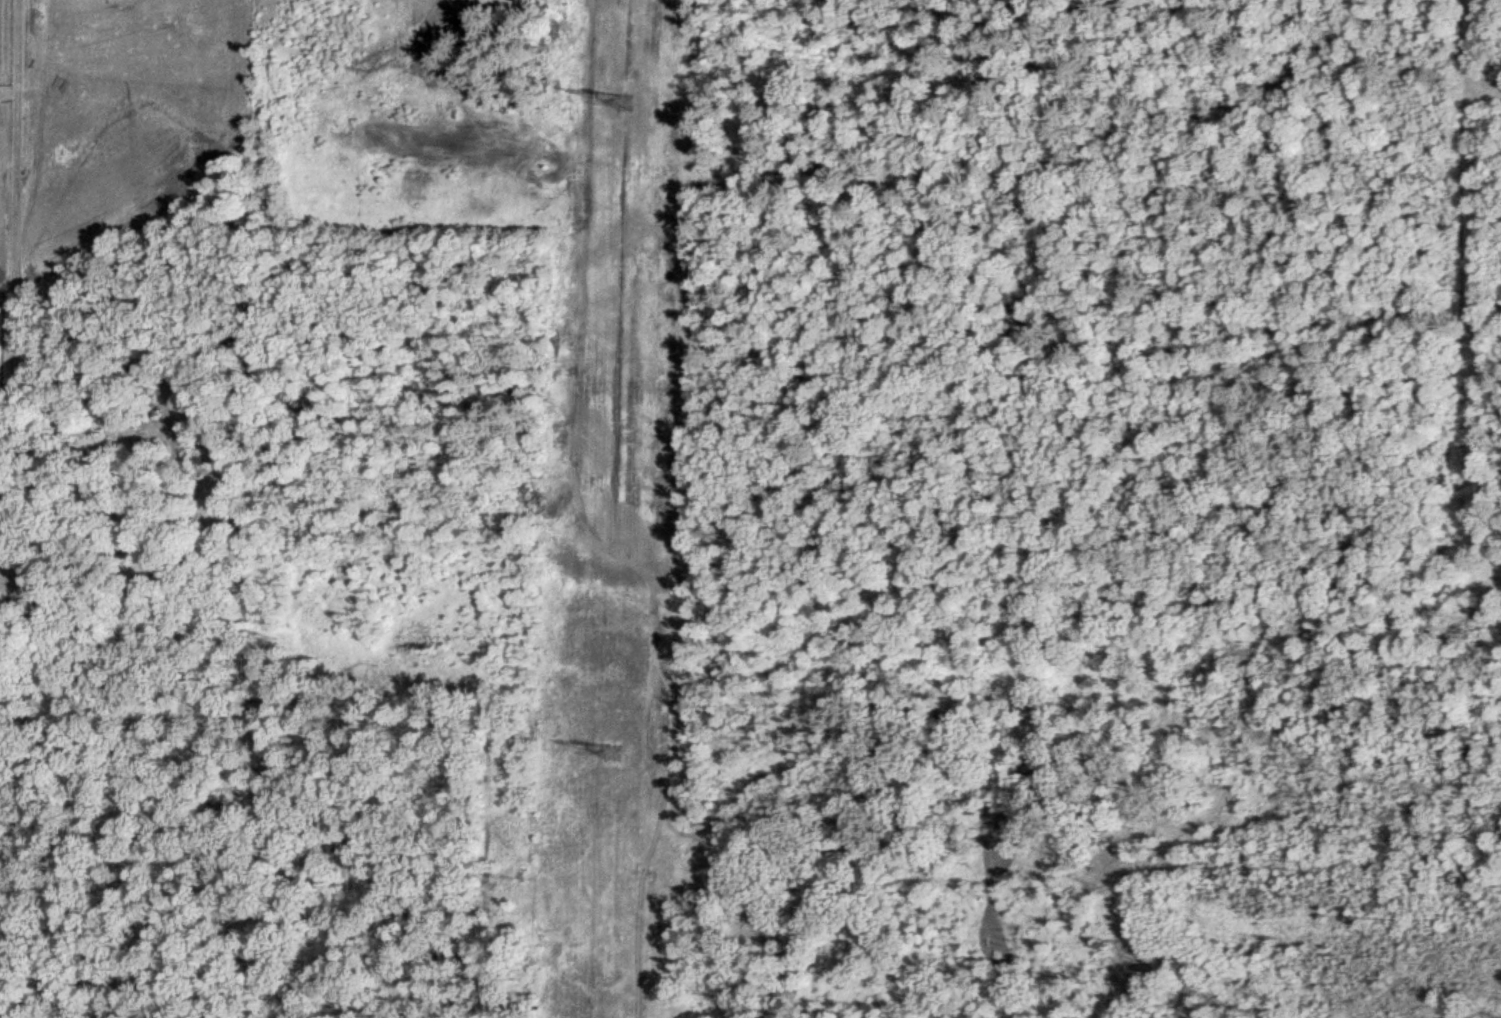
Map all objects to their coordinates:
power tower: (624, 101)
power tower: (615, 752)

